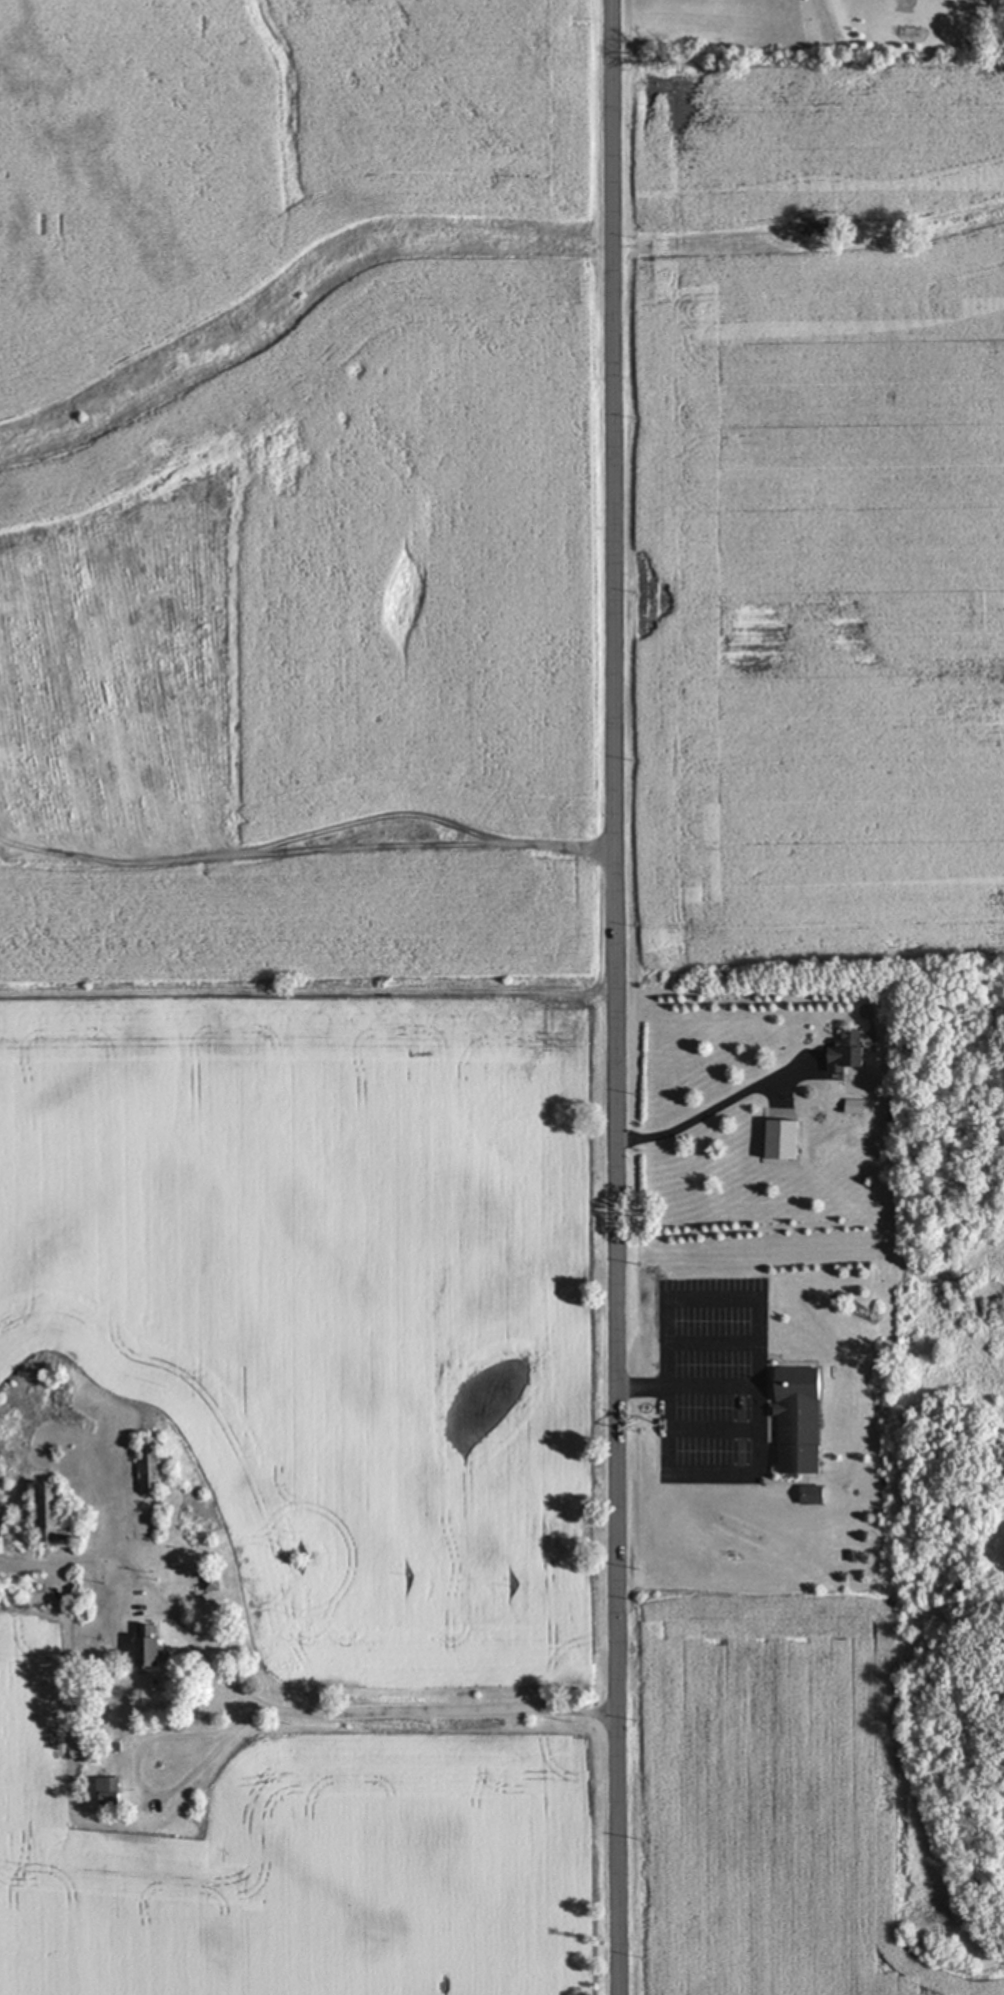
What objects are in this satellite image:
road: (612, 997)
building: (851, 1050)
road: (714, 1107)
building: (800, 1419)
road: (667, 1459)
building: (154, 1464)
building: (815, 1495)
building: (53, 1511)
building: (213, 1580)
building: (154, 1646)
road: (202, 1661)
road: (438, 1708)
building: (112, 1790)
road: (145, 1801)

